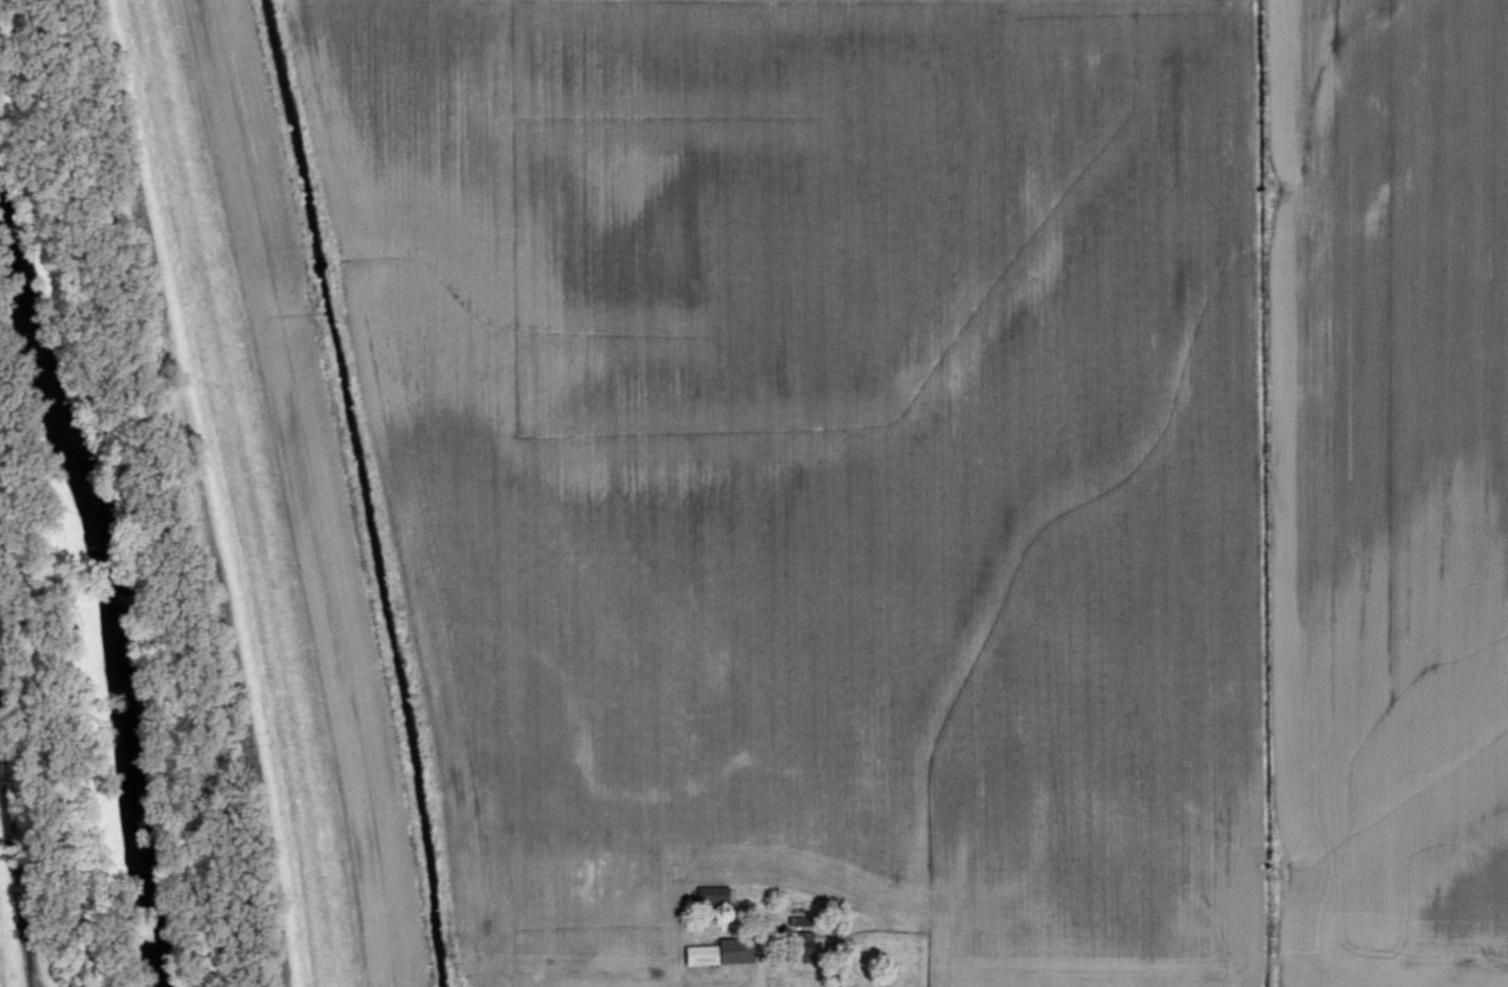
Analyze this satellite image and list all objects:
building: (717, 894)
building: (728, 951)

